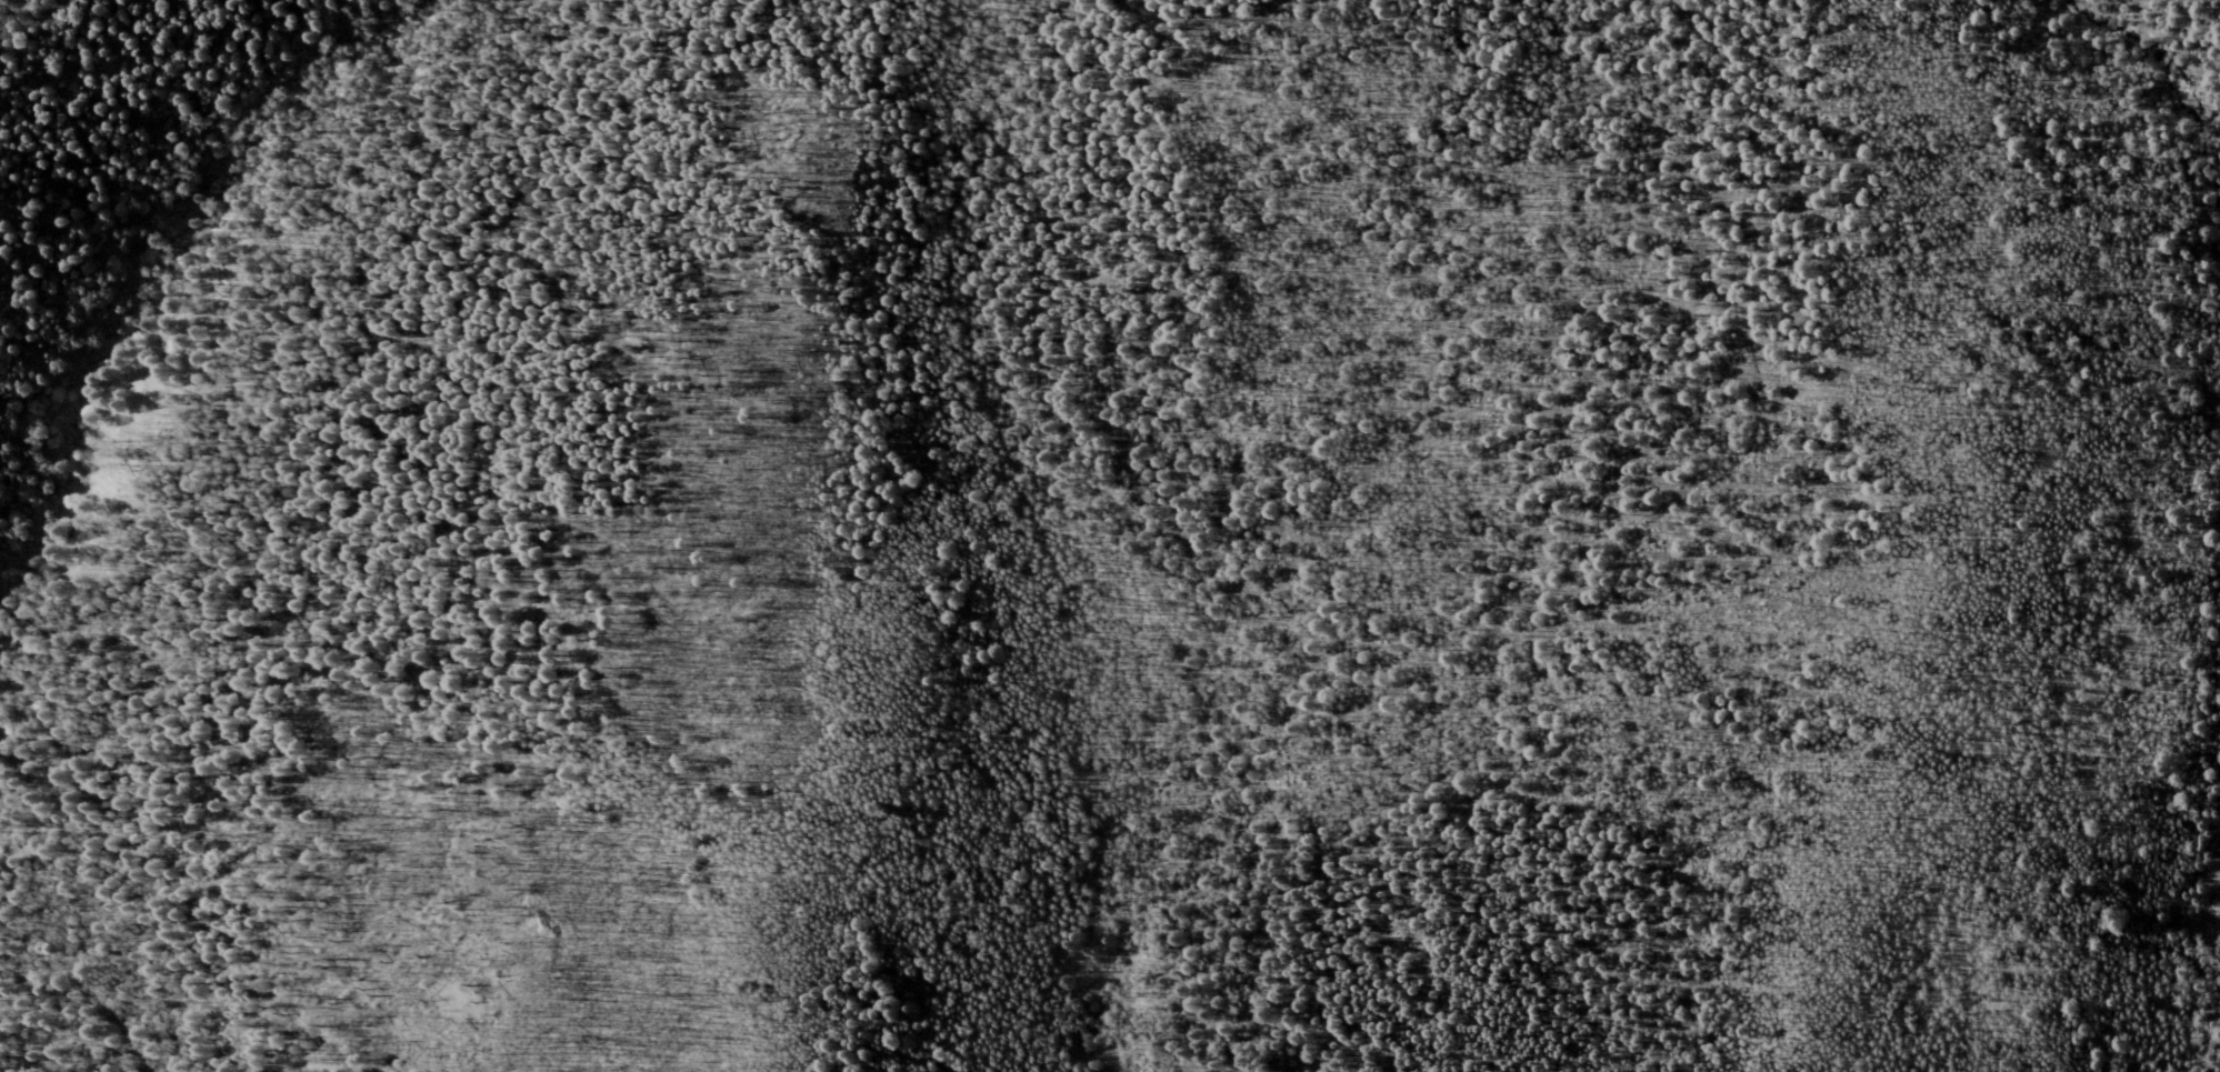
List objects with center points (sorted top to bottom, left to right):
river: (2146, 110)

